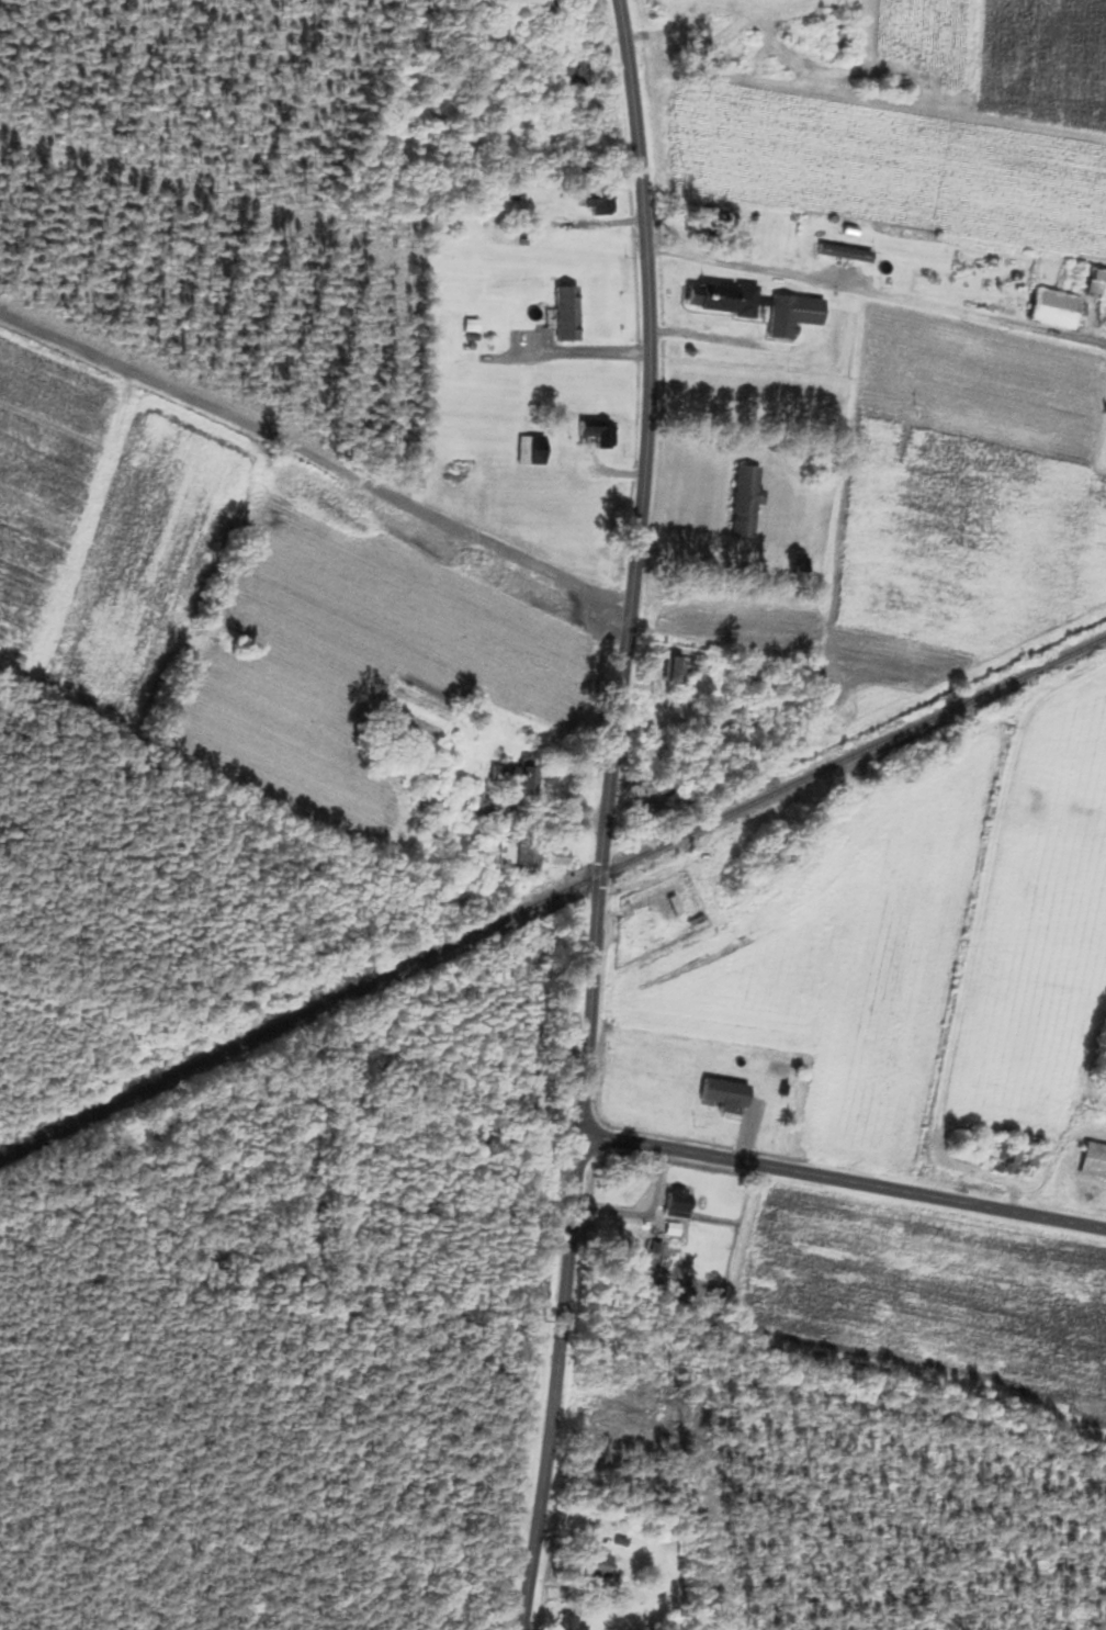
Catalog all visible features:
building: (544, 7)
building: (833, 45)
building: (577, 74)
building: (605, 203)
building: (722, 220)
building: (842, 252)
building: (1094, 283)
road: (880, 290)
building: (722, 299)
building: (1051, 308)
building: (565, 314)
building: (791, 314)
building: (529, 449)
road: (314, 457)
building: (742, 499)
building: (801, 567)
building: (685, 667)
building: (511, 776)
building: (651, 788)
road: (605, 816)
building: (516, 856)
railway: (552, 895)
building: (673, 904)
building: (696, 922)
building: (670, 1093)
building: (642, 1095)
building: (1092, 1160)
road: (843, 1180)
building: (675, 1203)
building: (589, 1564)
building: (566, 1620)

